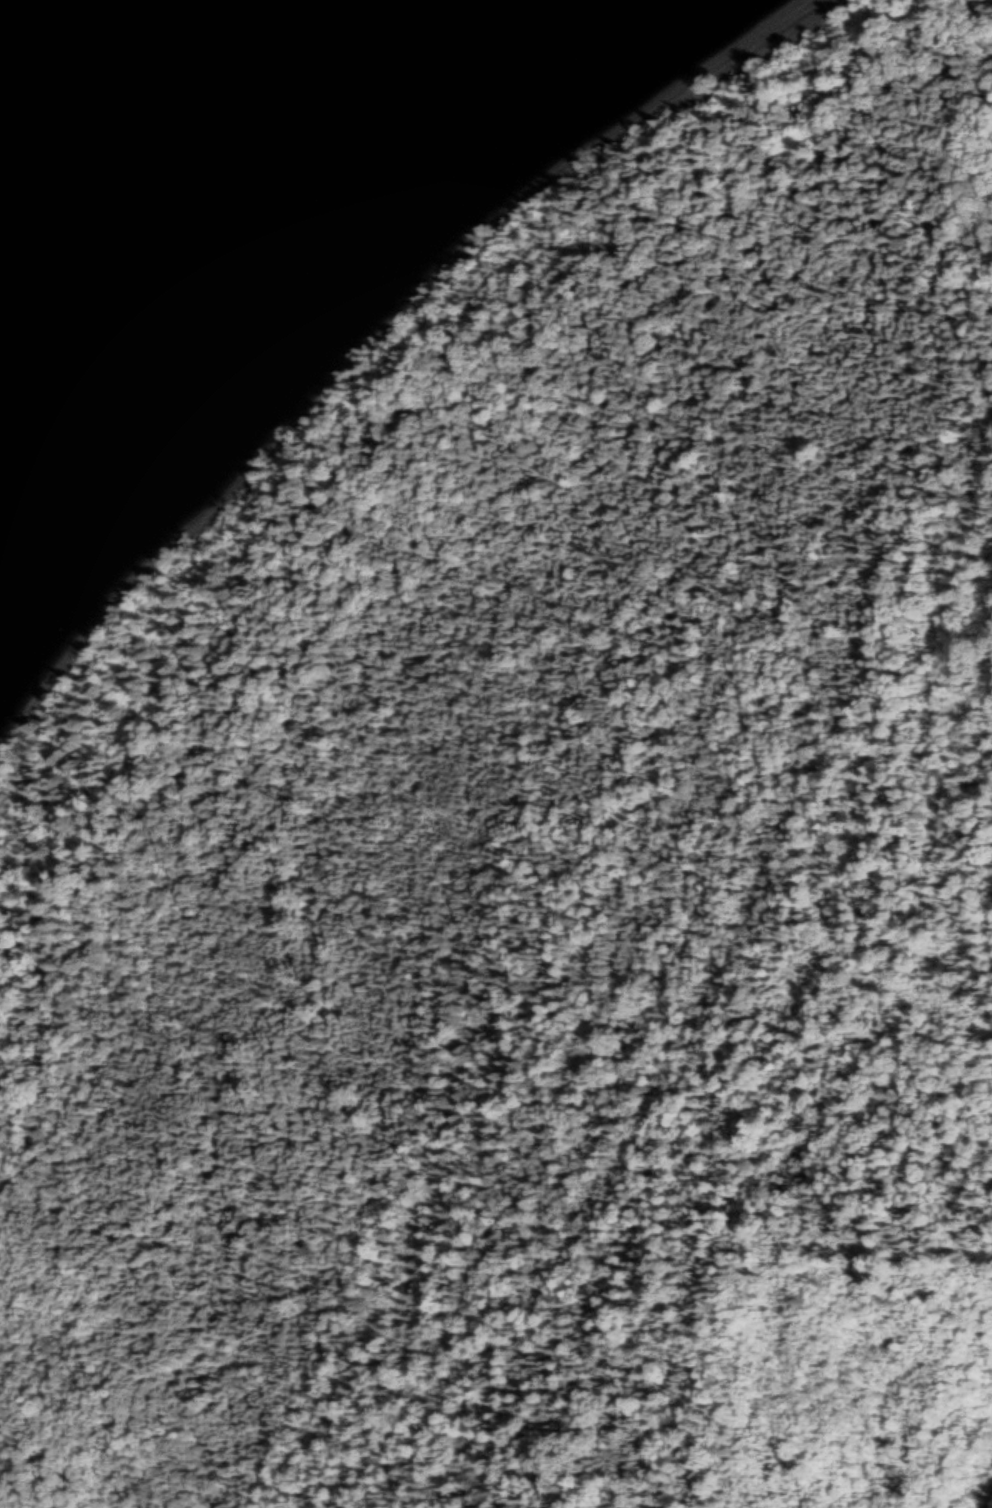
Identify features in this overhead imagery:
park: (544, 852)
road: (984, 1497)

